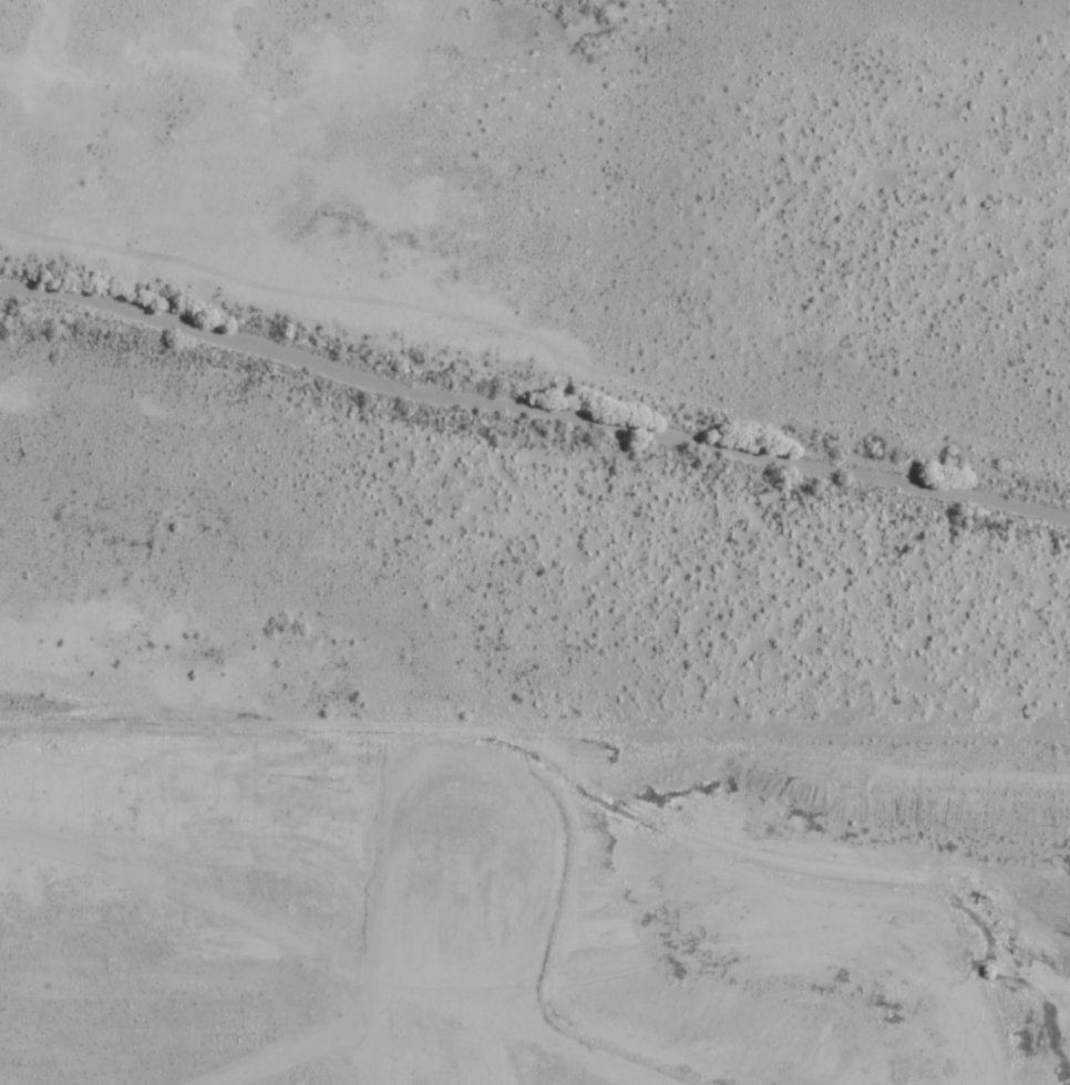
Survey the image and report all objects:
river: (535, 399)

